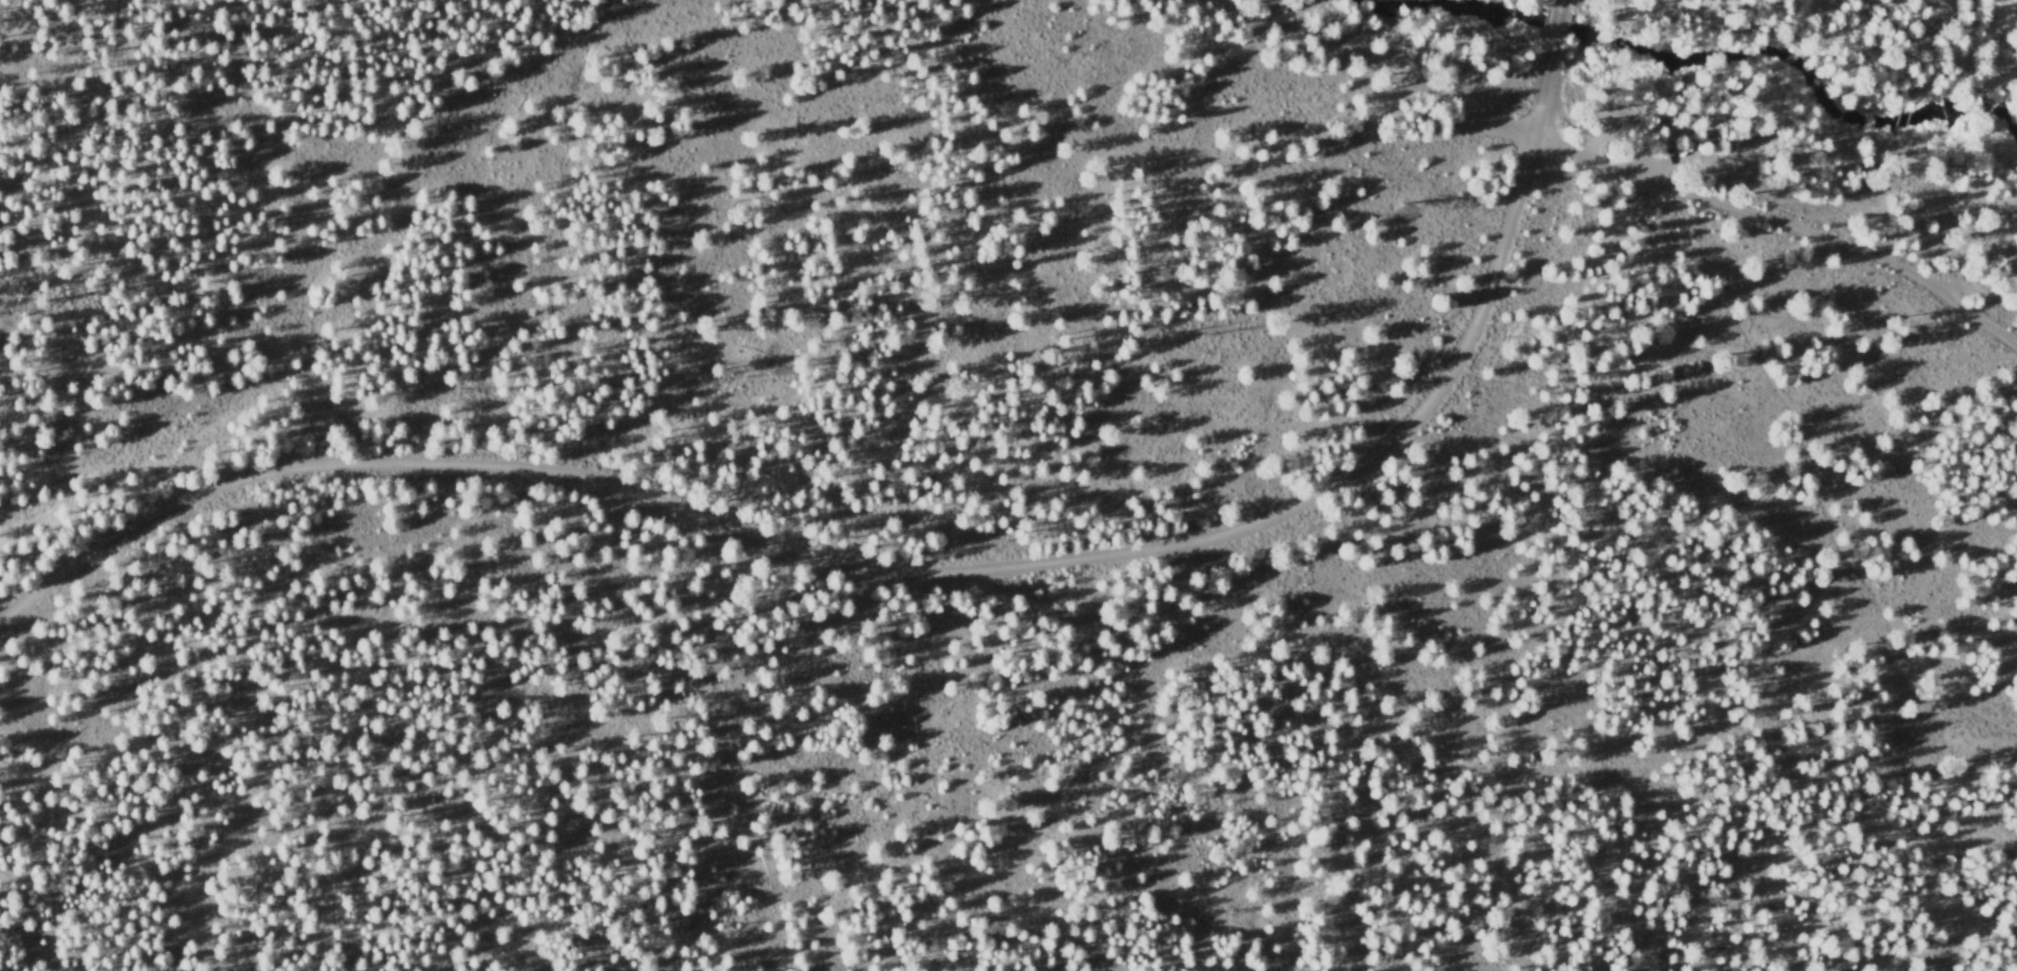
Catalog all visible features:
road: (1552, 24)
road: (1372, 71)
road: (1785, 220)
road: (1778, 389)
road: (897, 573)
road: (1183, 970)

